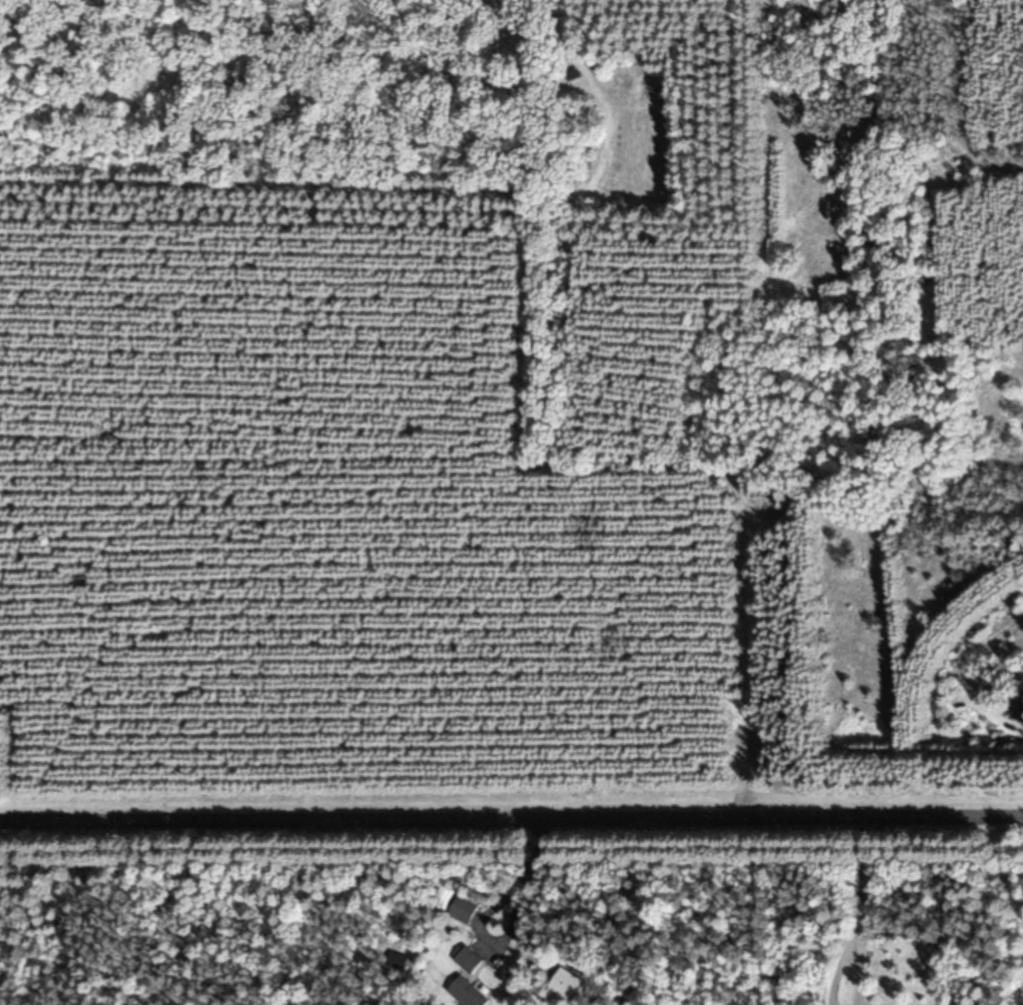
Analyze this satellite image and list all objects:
building: (1016, 705)
road: (511, 814)
building: (442, 897)
building: (465, 909)
building: (469, 960)
building: (467, 993)

